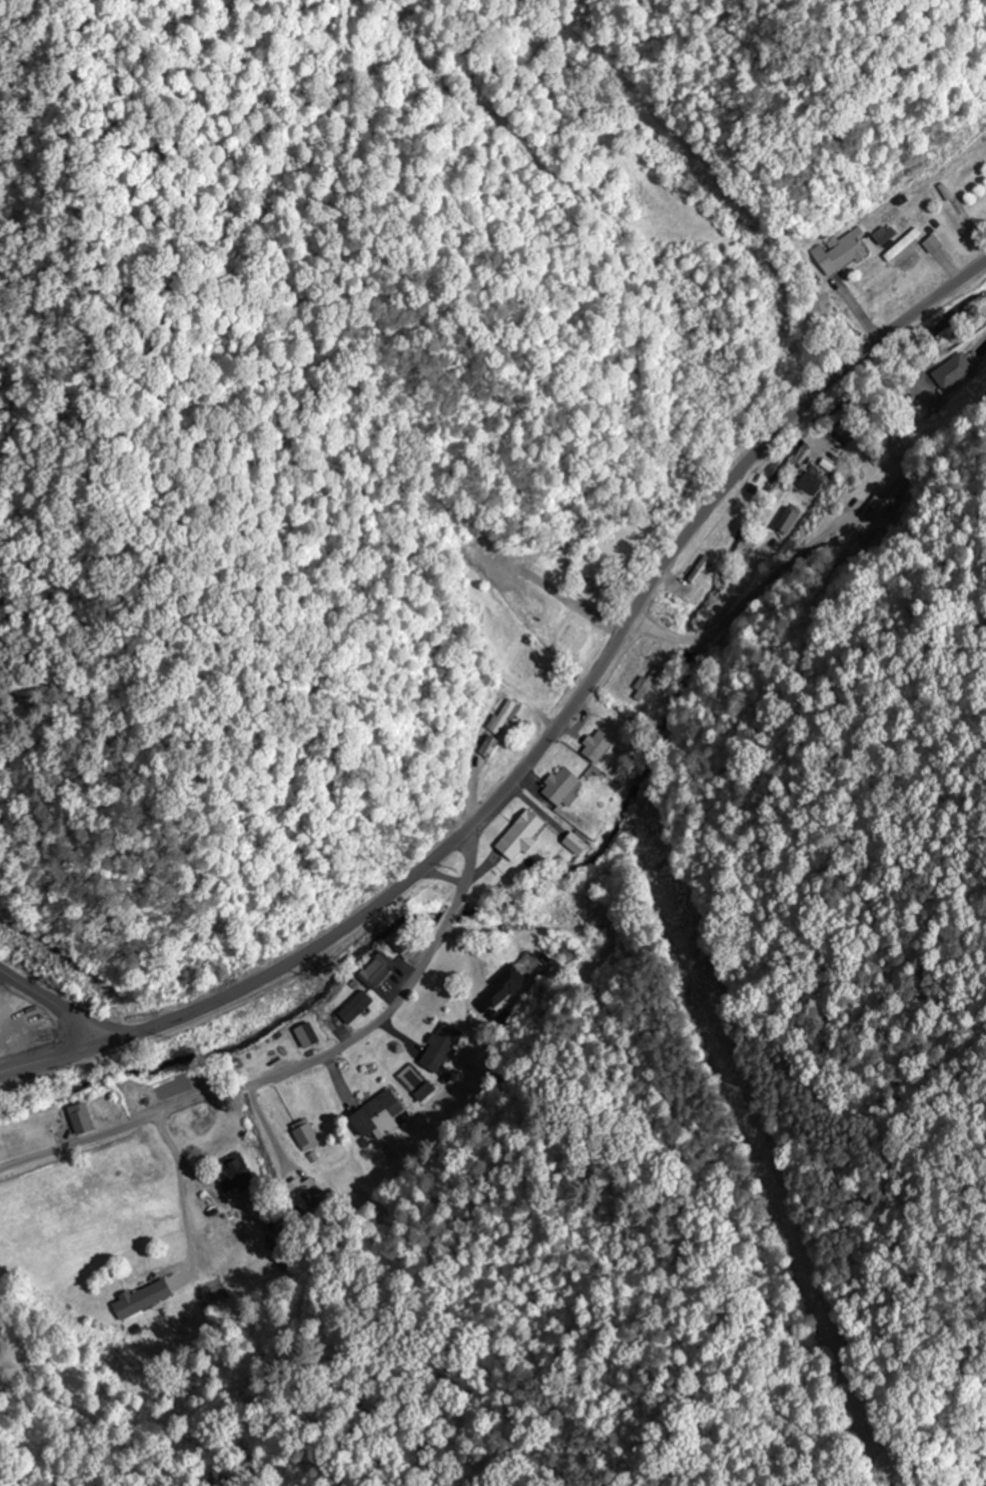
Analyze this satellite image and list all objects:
building: (929, 243)
building: (839, 252)
building: (952, 371)
building: (887, 500)
building: (787, 518)
building: (698, 569)
building: (587, 585)
building: (648, 682)
road: (577, 687)
building: (486, 745)
building: (597, 745)
building: (559, 787)
building: (518, 834)
building: (605, 930)
building: (374, 969)
building: (503, 987)
road: (54, 1004)
building: (353, 1006)
building: (304, 1034)
building: (441, 1044)
road: (53, 1059)
road: (296, 1062)
building: (374, 1117)
building: (305, 1136)
building: (235, 1174)
building: (310, 1193)
building: (139, 1299)

